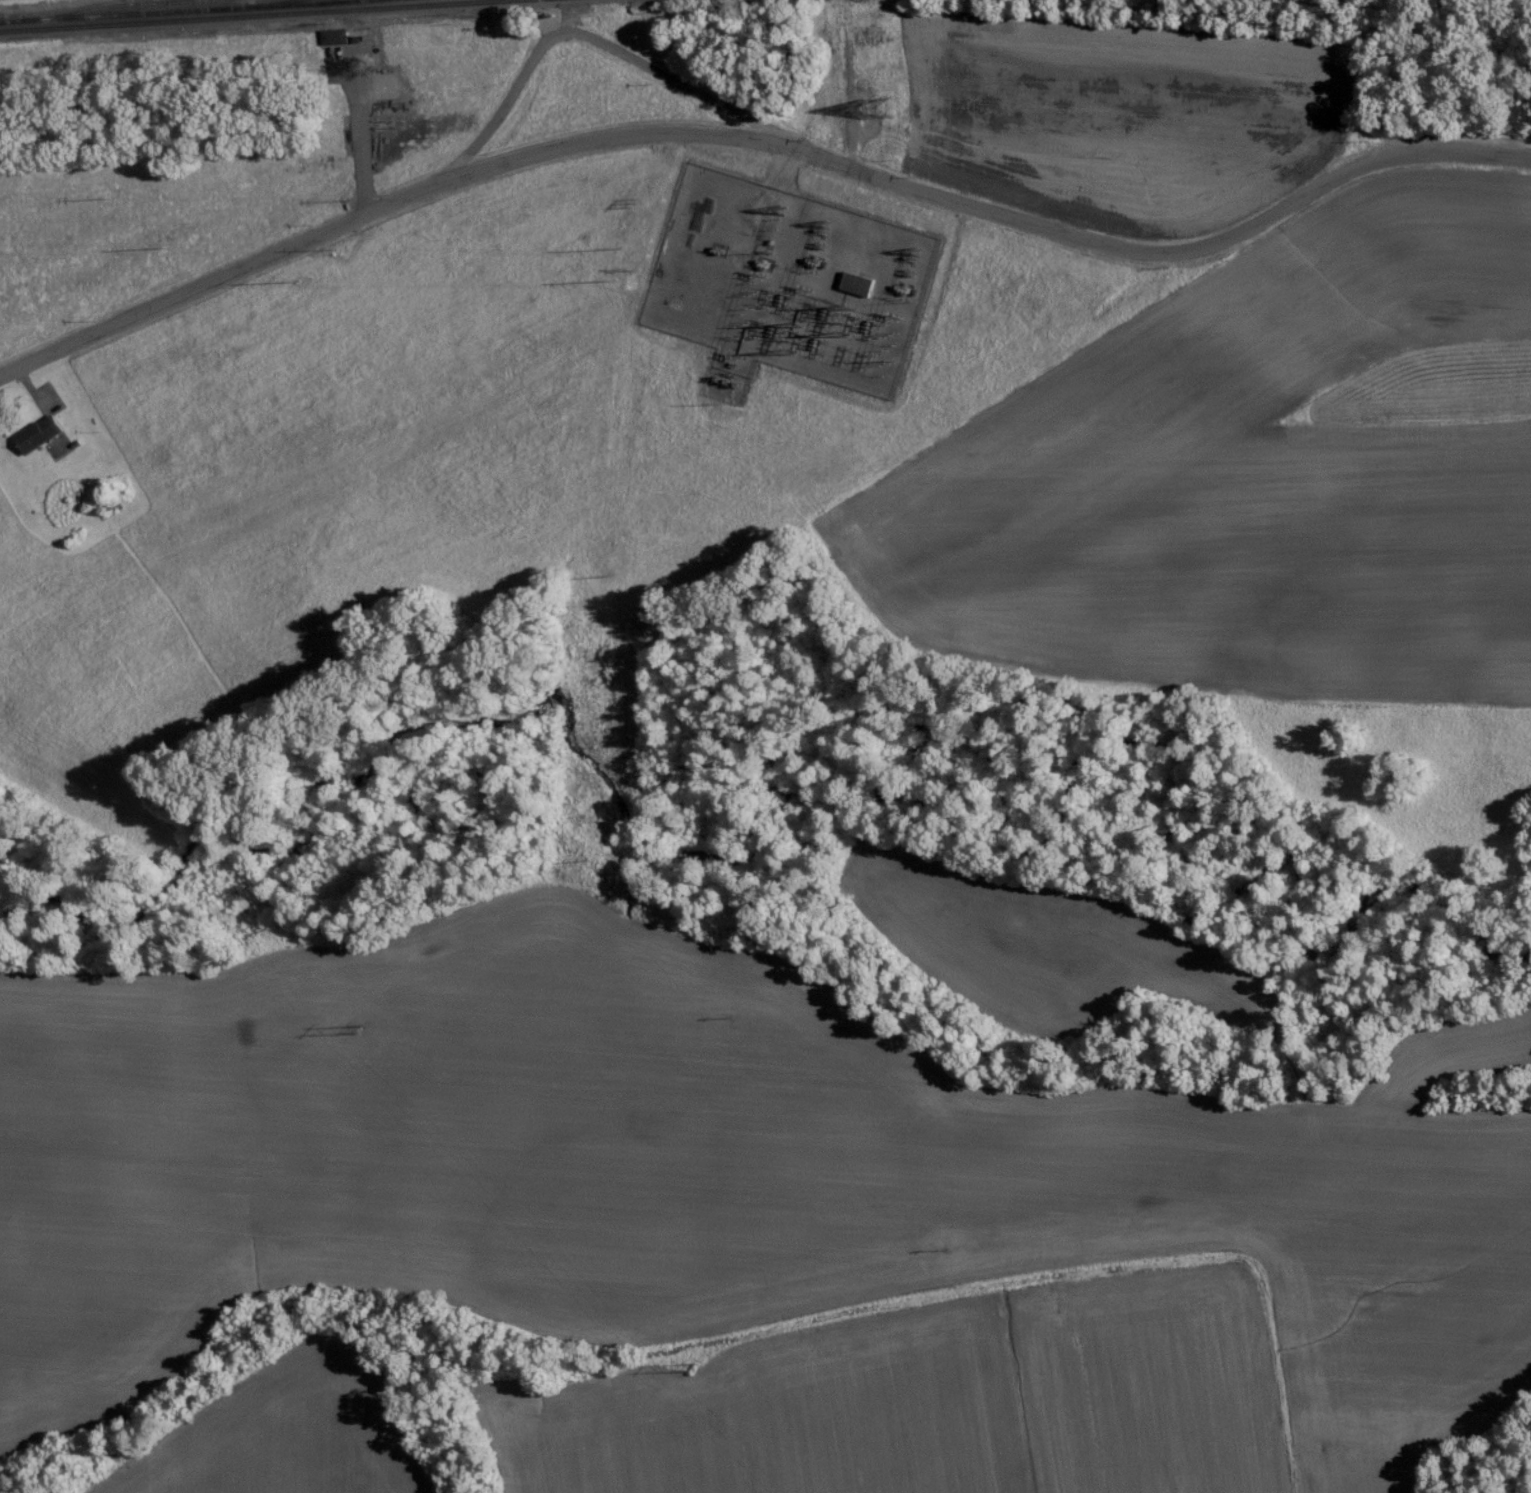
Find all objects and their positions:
railway: (289, 2)
railway: (174, 11)
railway: (244, 14)
building: (336, 36)
road: (760, 140)
power substation: (787, 281)
building: (858, 284)
building: (39, 434)
power tower: (360, 1033)
power tower: (695, 1361)

